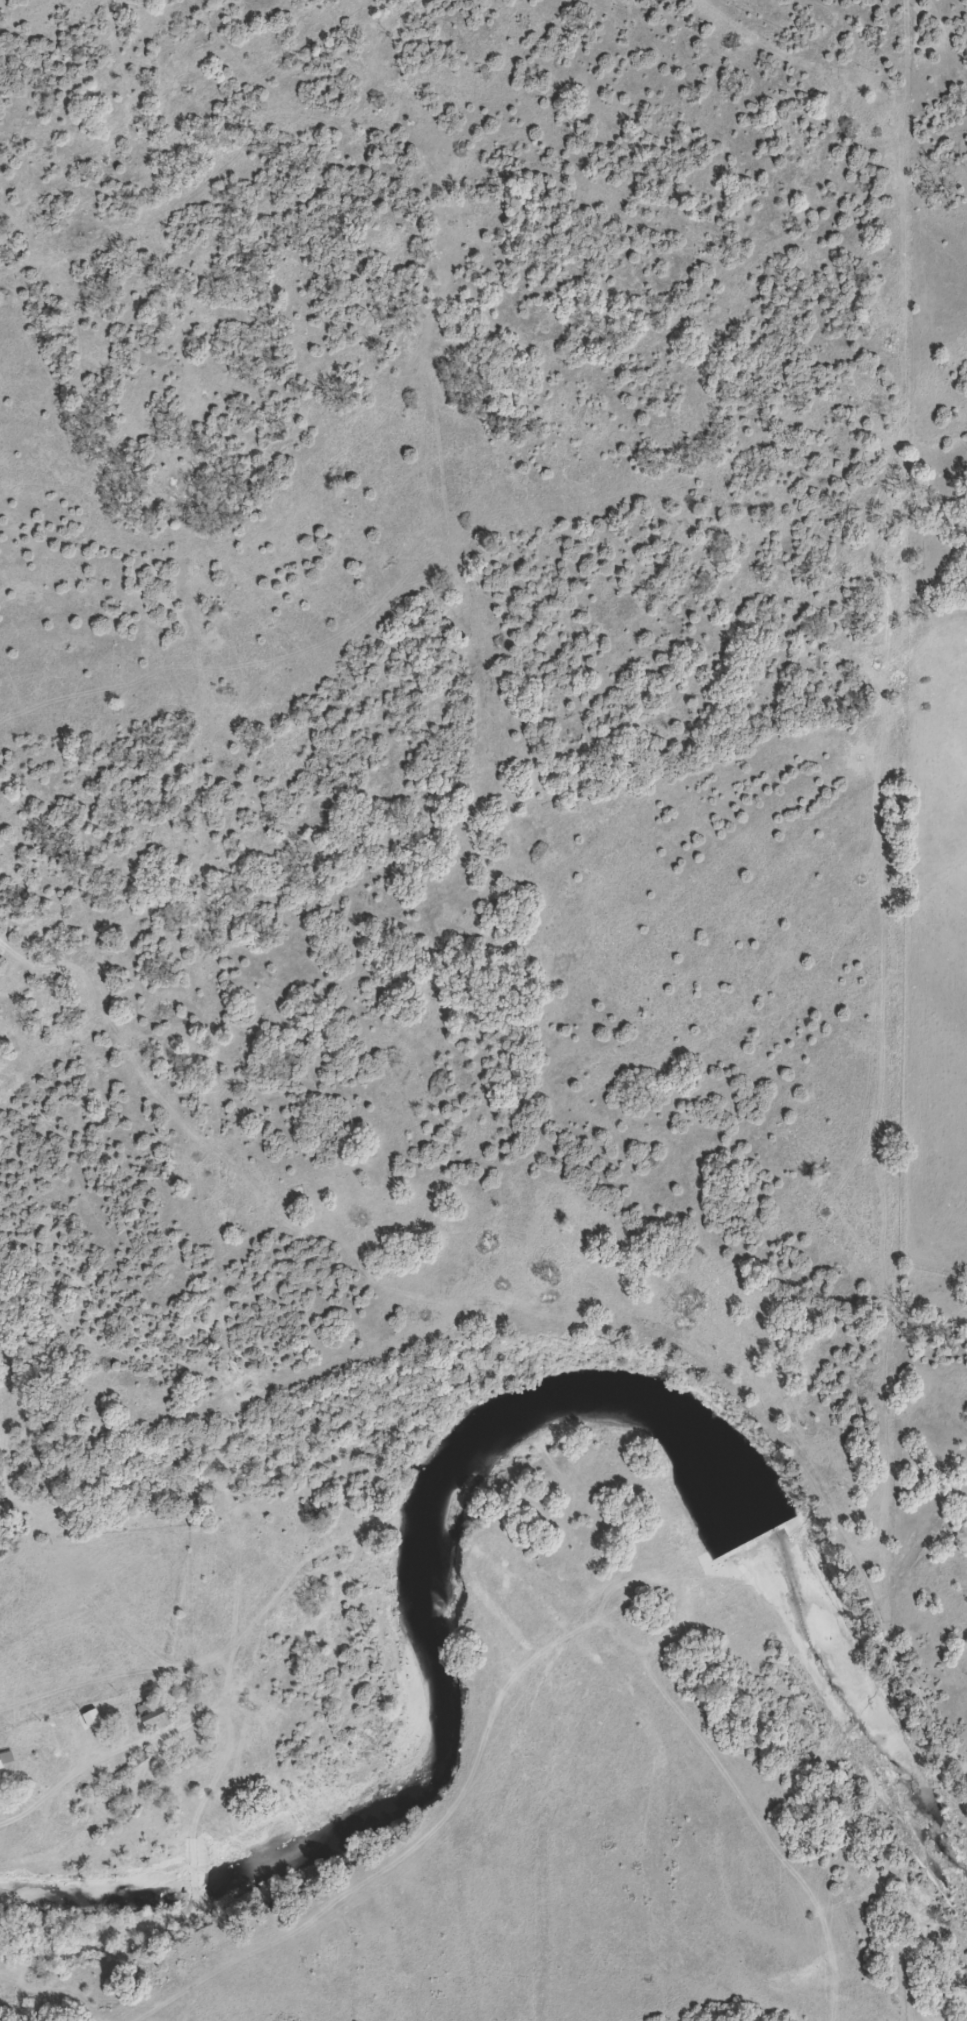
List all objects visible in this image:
building: (158, 1716)
building: (5, 1766)
road: (96, 1769)

